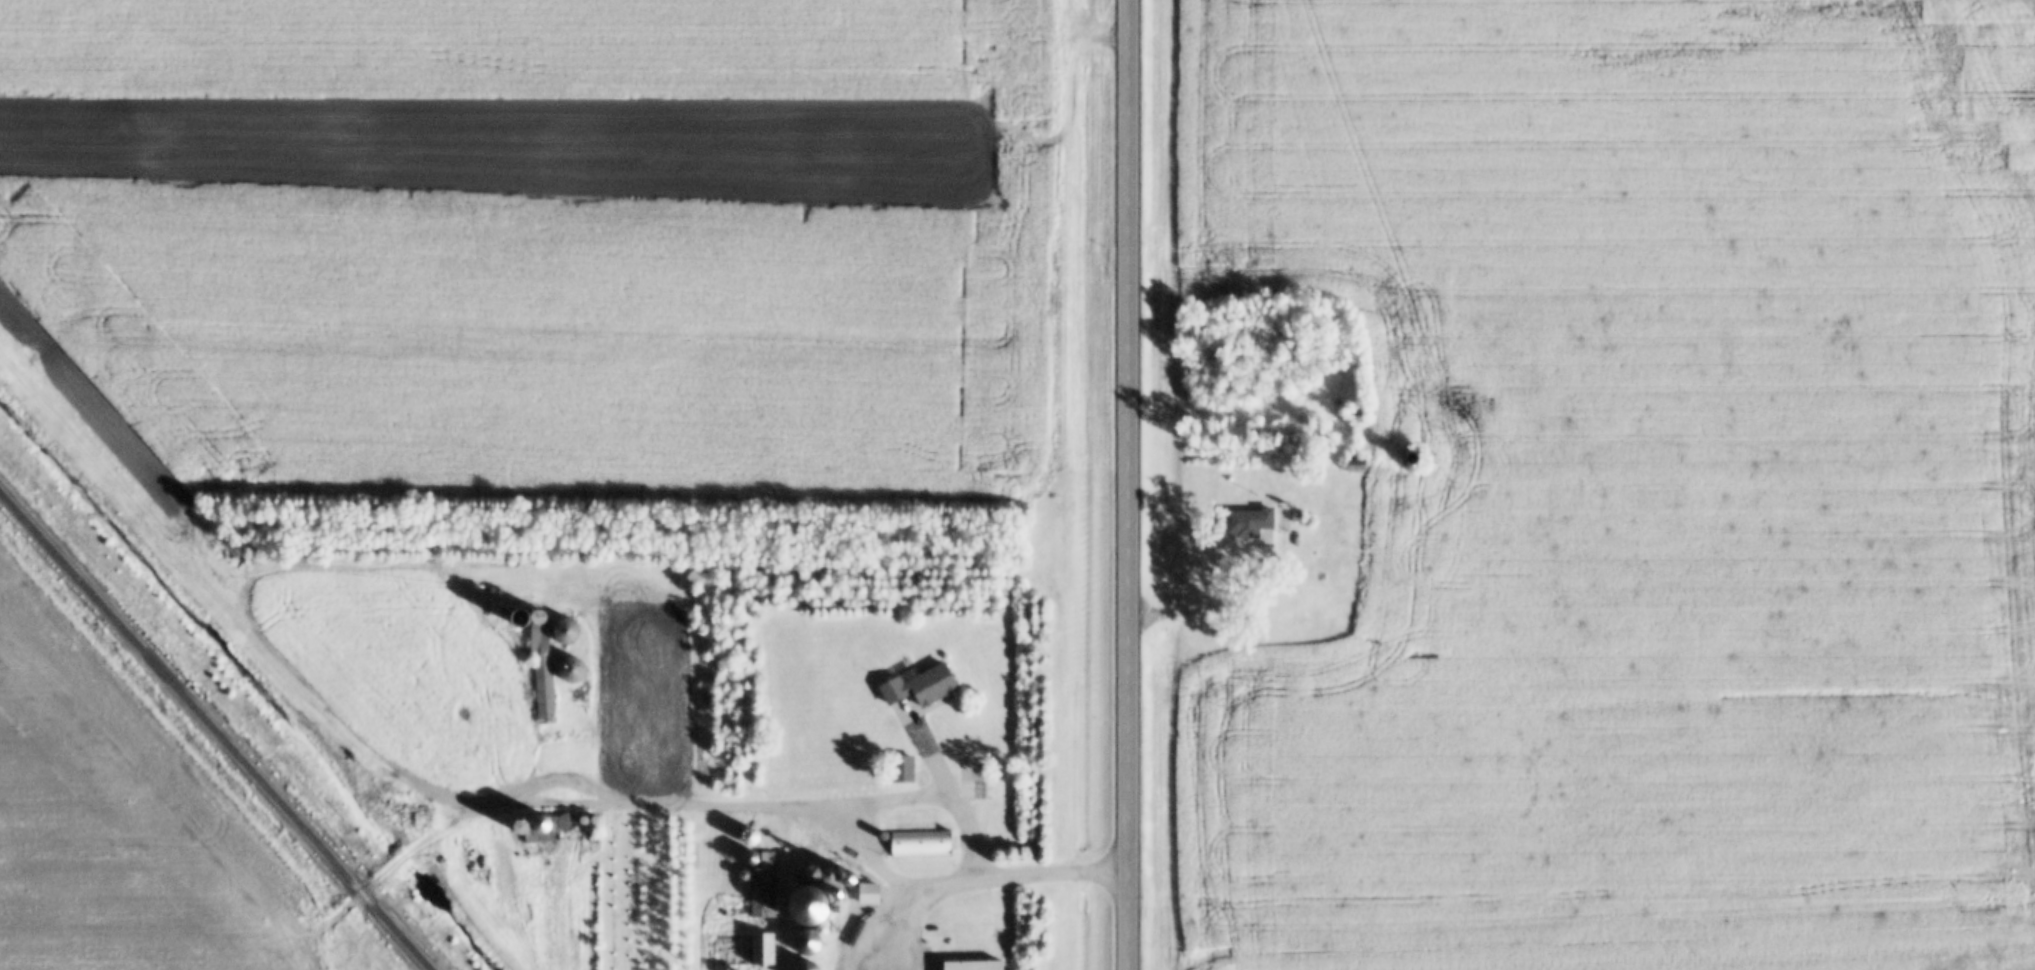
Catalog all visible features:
building: (1361, 415)
silo: (1361, 415)
building: (1414, 458)
silo: (1414, 458)
building: (1360, 466)
road: (1132, 485)
building: (1299, 518)
building: (1253, 522)
building: (469, 568)
building: (518, 618)
silo: (518, 618)
building: (568, 633)
silo: (568, 633)
building: (541, 674)
building: (922, 686)
railway: (213, 733)
building: (903, 768)
road: (777, 803)
building: (540, 823)
silo: (540, 823)
building: (520, 826)
silo: (520, 826)
building: (751, 837)
building: (540, 839)
building: (916, 844)
building: (751, 859)
silo: (751, 859)
road: (384, 871)
building: (813, 874)
silo: (813, 874)
building: (743, 875)
silo: (743, 875)
building: (832, 876)
silo: (832, 876)
building: (854, 879)
silo: (854, 879)
road: (989, 880)
building: (764, 889)
building: (810, 897)
silo: (810, 897)
building: (814, 919)
silo: (814, 919)
building: (865, 928)
silo: (865, 928)
building: (806, 943)
silo: (806, 943)
building: (849, 947)
silo: (849, 947)
building: (763, 949)
building: (805, 966)
silo: (805, 966)
building: (970, 966)

